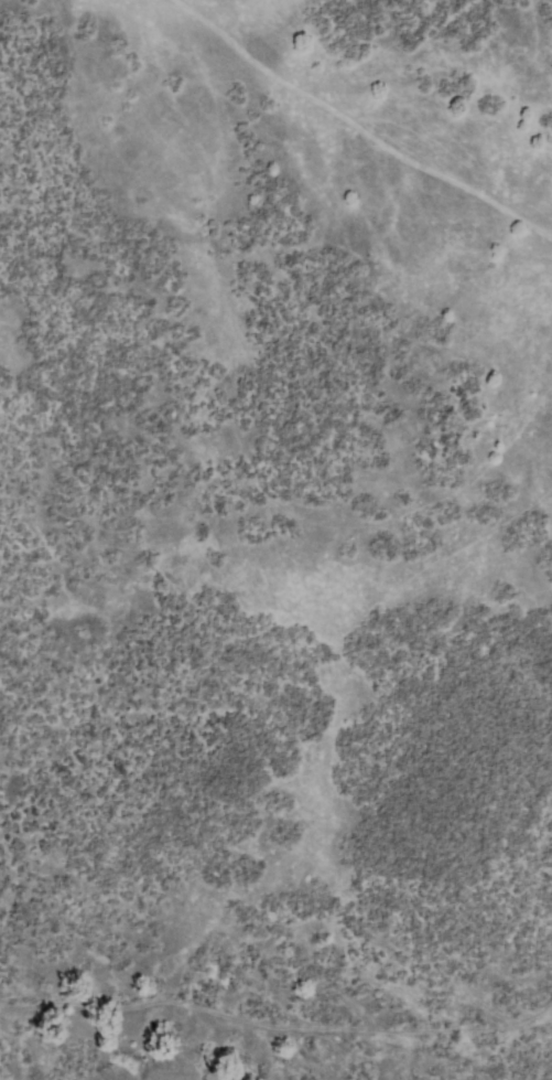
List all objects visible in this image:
road: (277, 1024)

